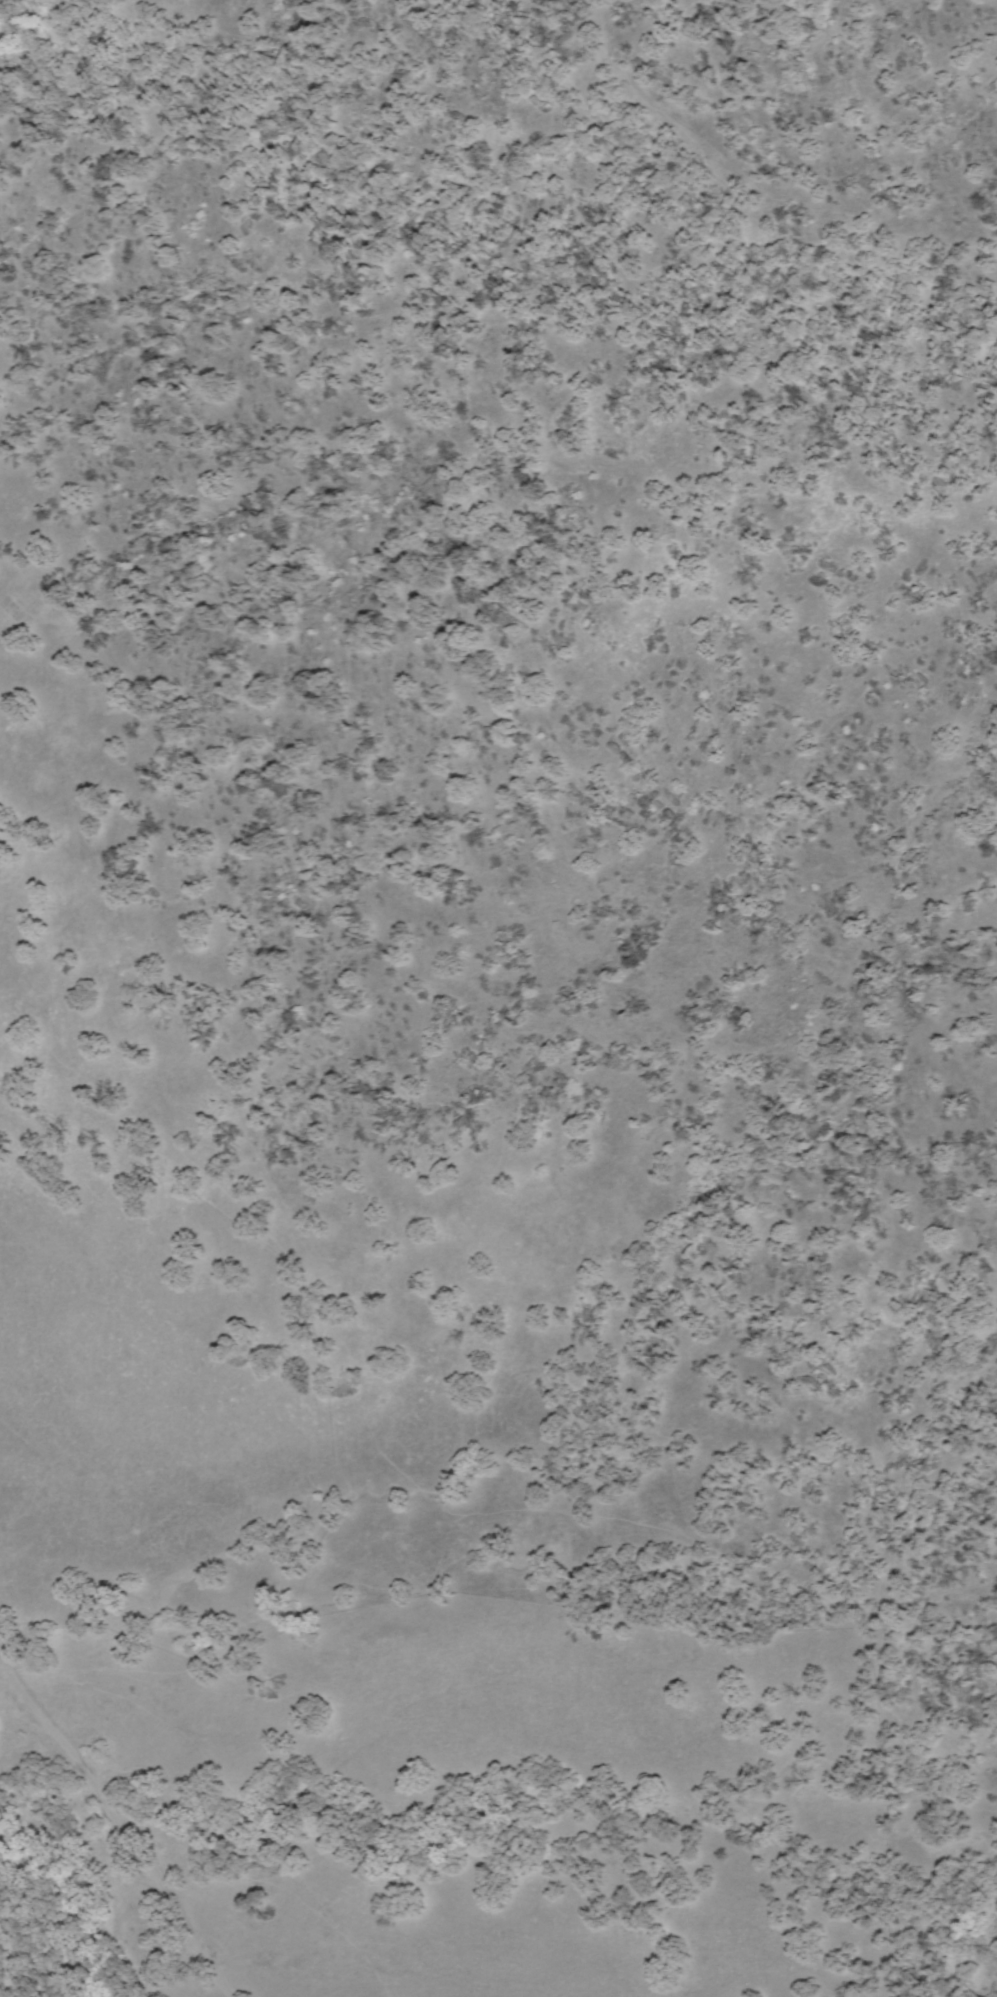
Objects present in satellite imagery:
road: (124, 1820)

